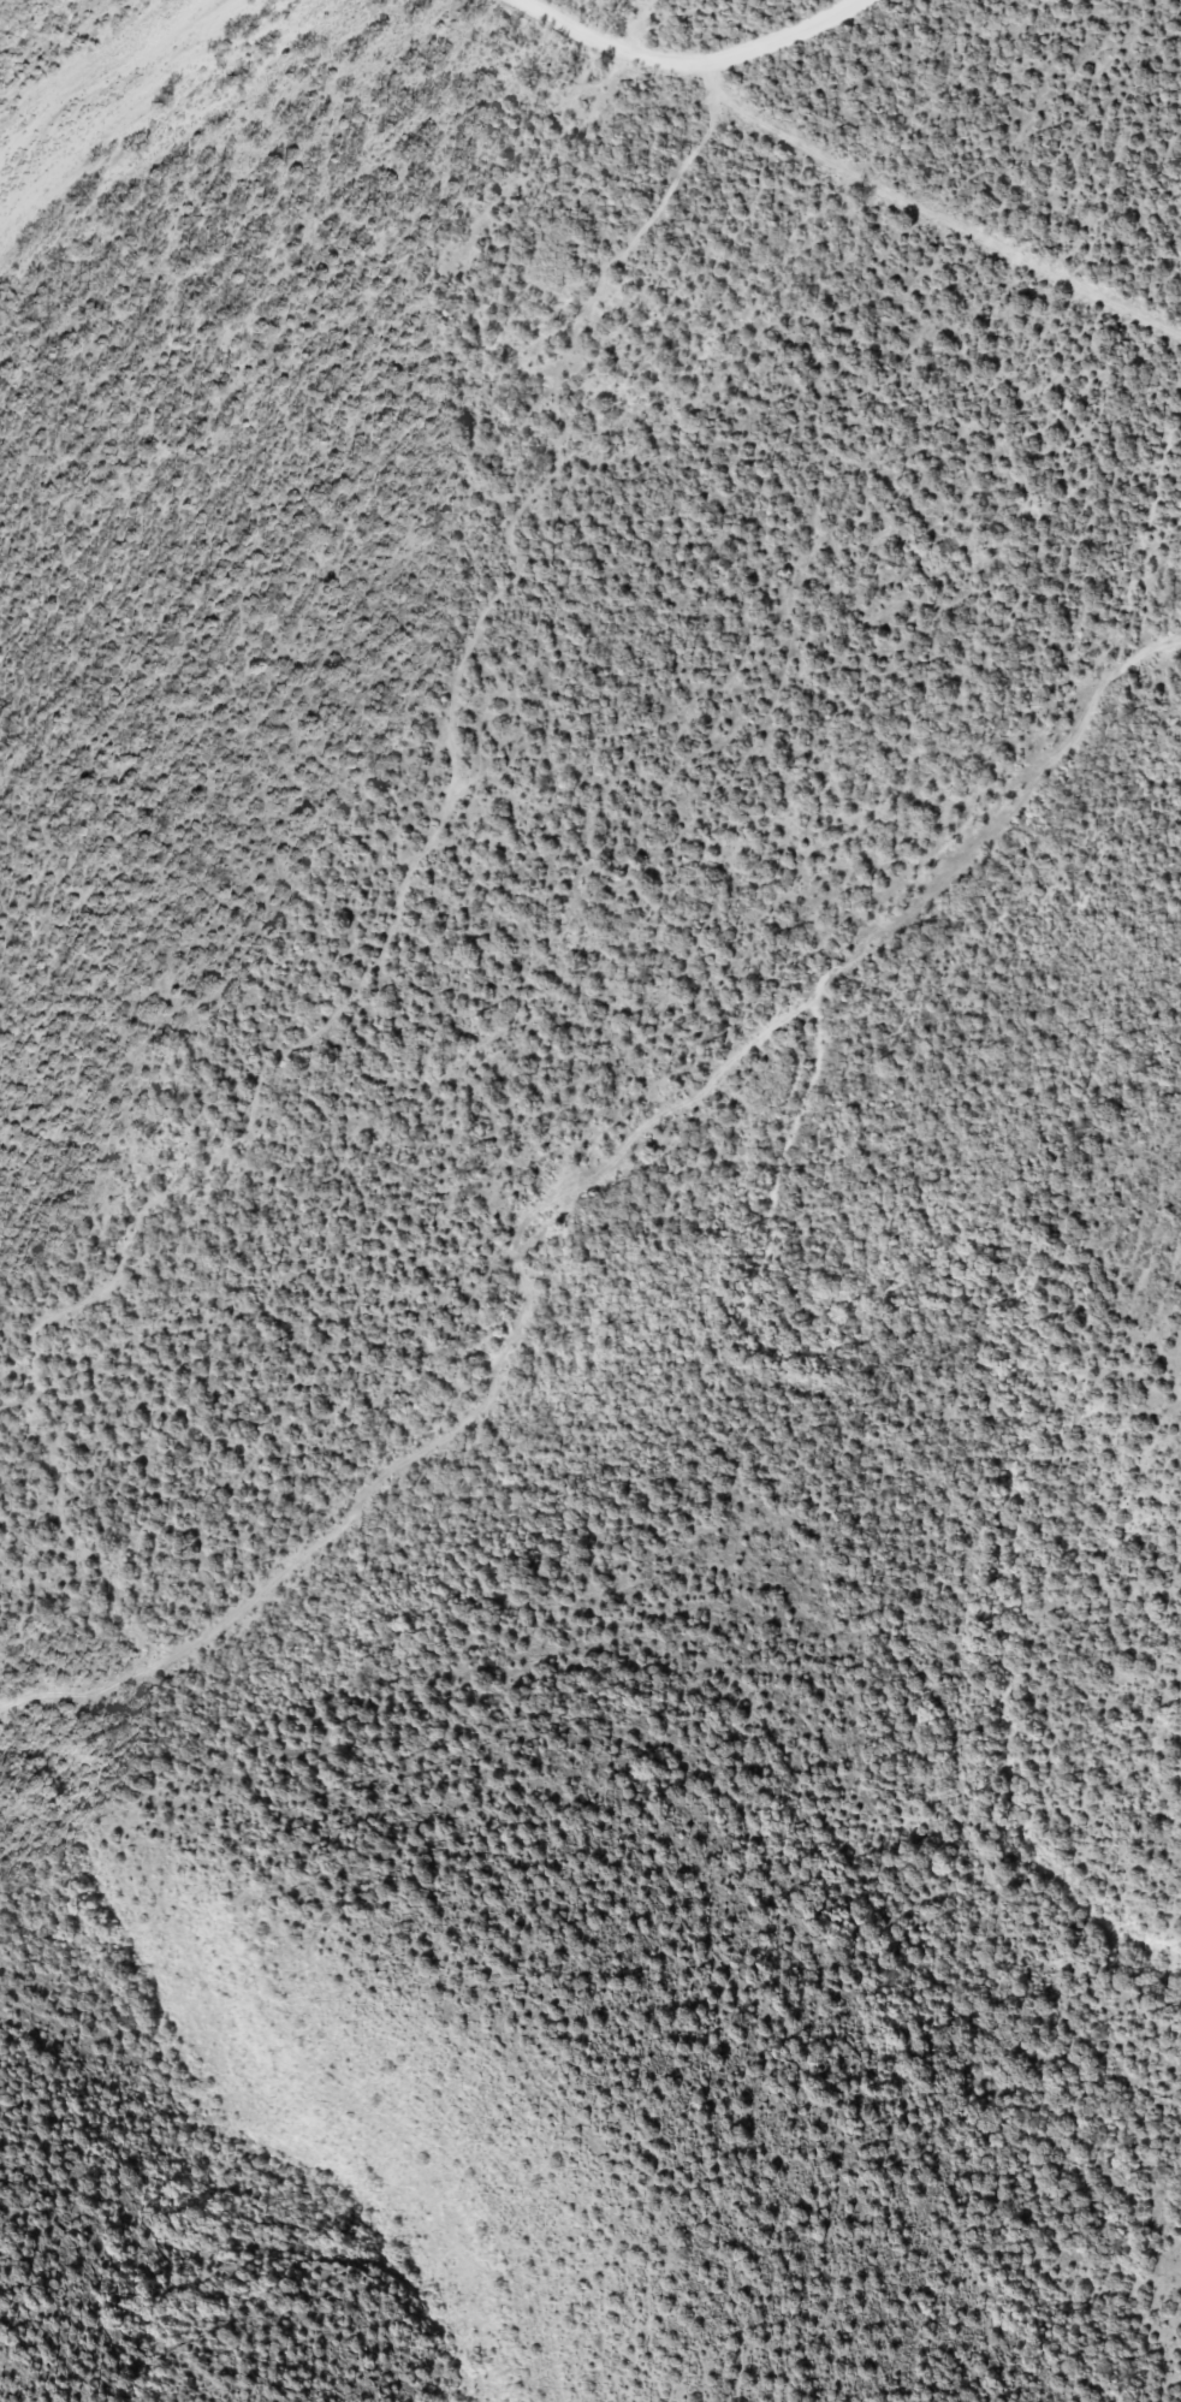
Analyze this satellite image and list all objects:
road: (695, 61)
river: (76, 103)

